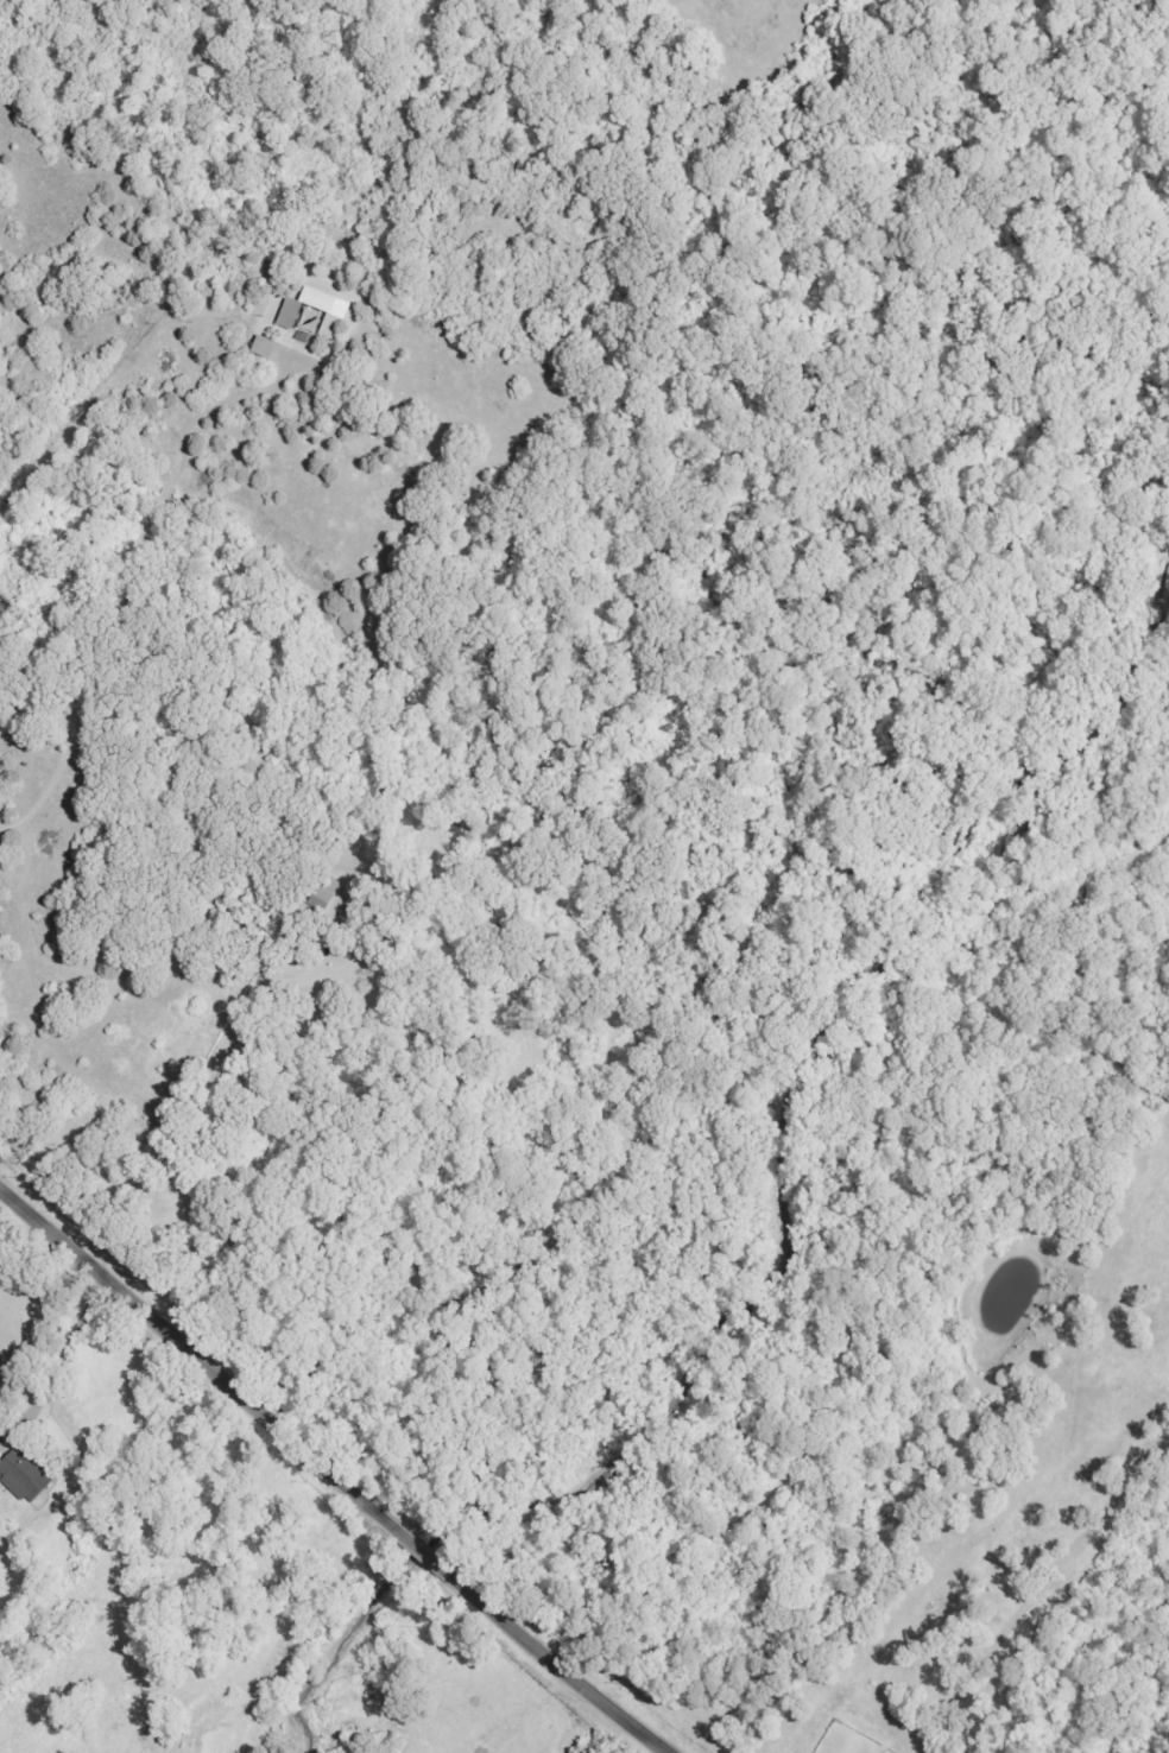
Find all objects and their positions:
building: (331, 309)
road: (135, 582)
building: (322, 905)
road: (71, 1327)
road: (213, 1361)
building: (23, 1476)
road: (1038, 1586)
road: (538, 1653)

